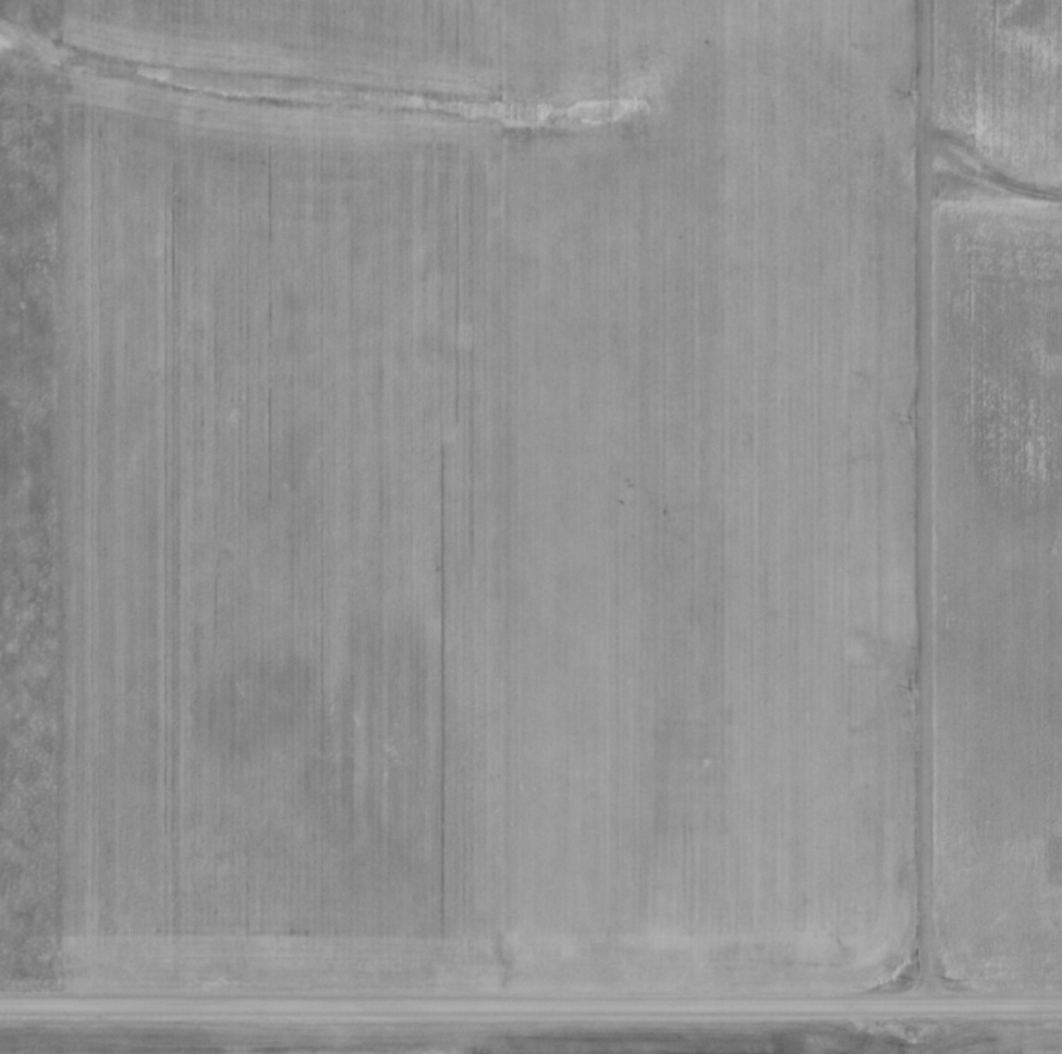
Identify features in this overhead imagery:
road: (923, 501)
road: (530, 1002)

